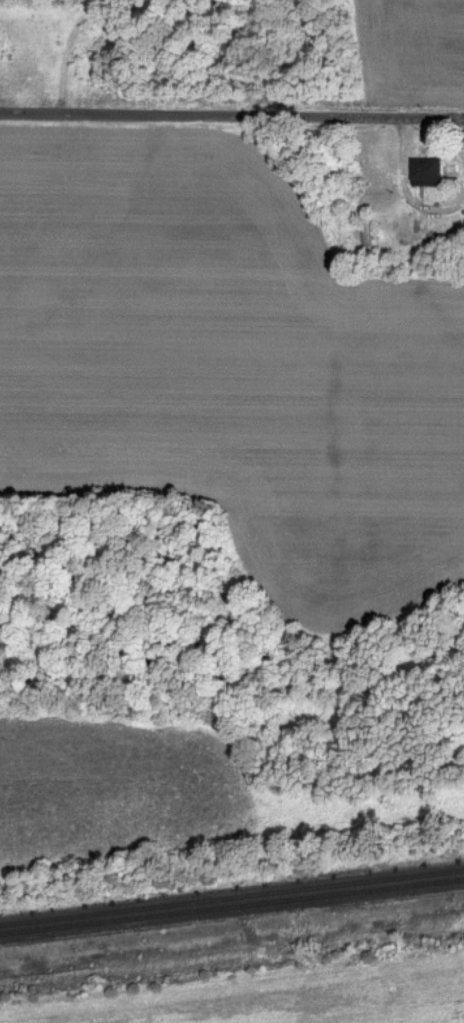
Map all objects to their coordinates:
road: (232, 114)
crop: (228, 367)
crop: (118, 786)
railway: (232, 897)
railway: (231, 906)

